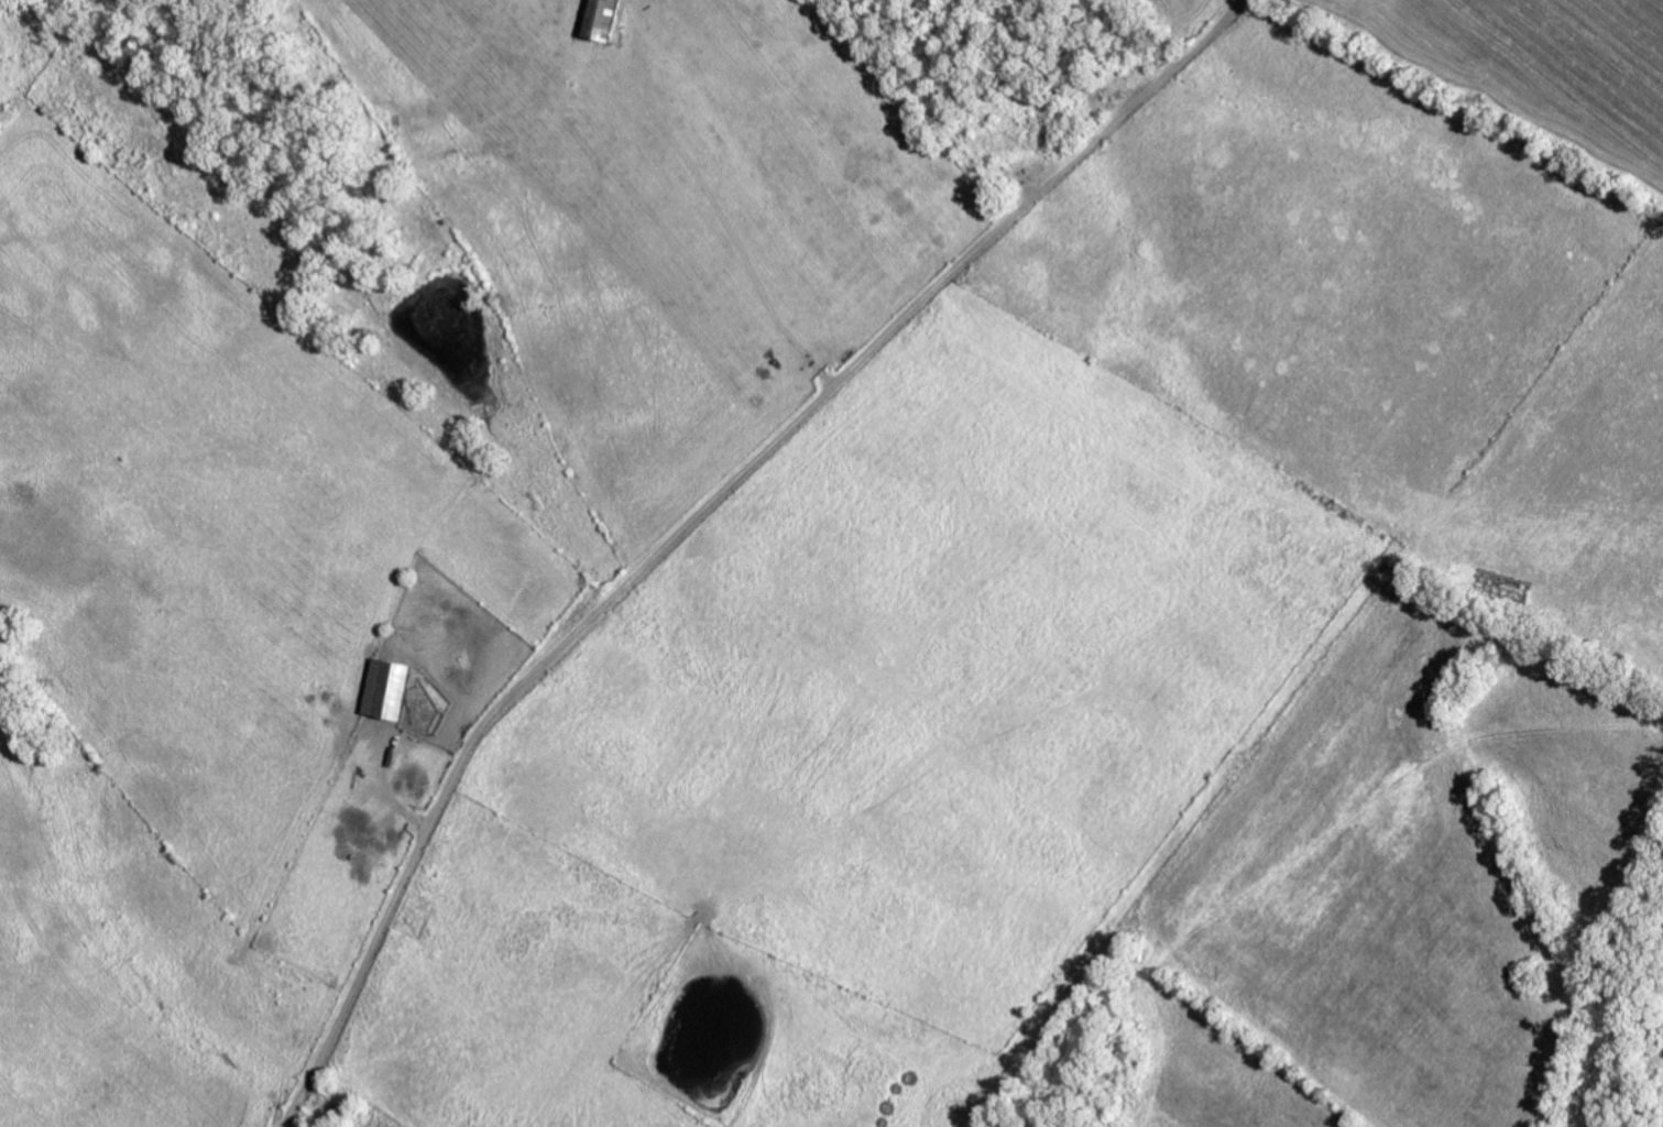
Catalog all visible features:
building: (598, 19)
road: (407, 62)
road: (653, 507)
building: (384, 688)

